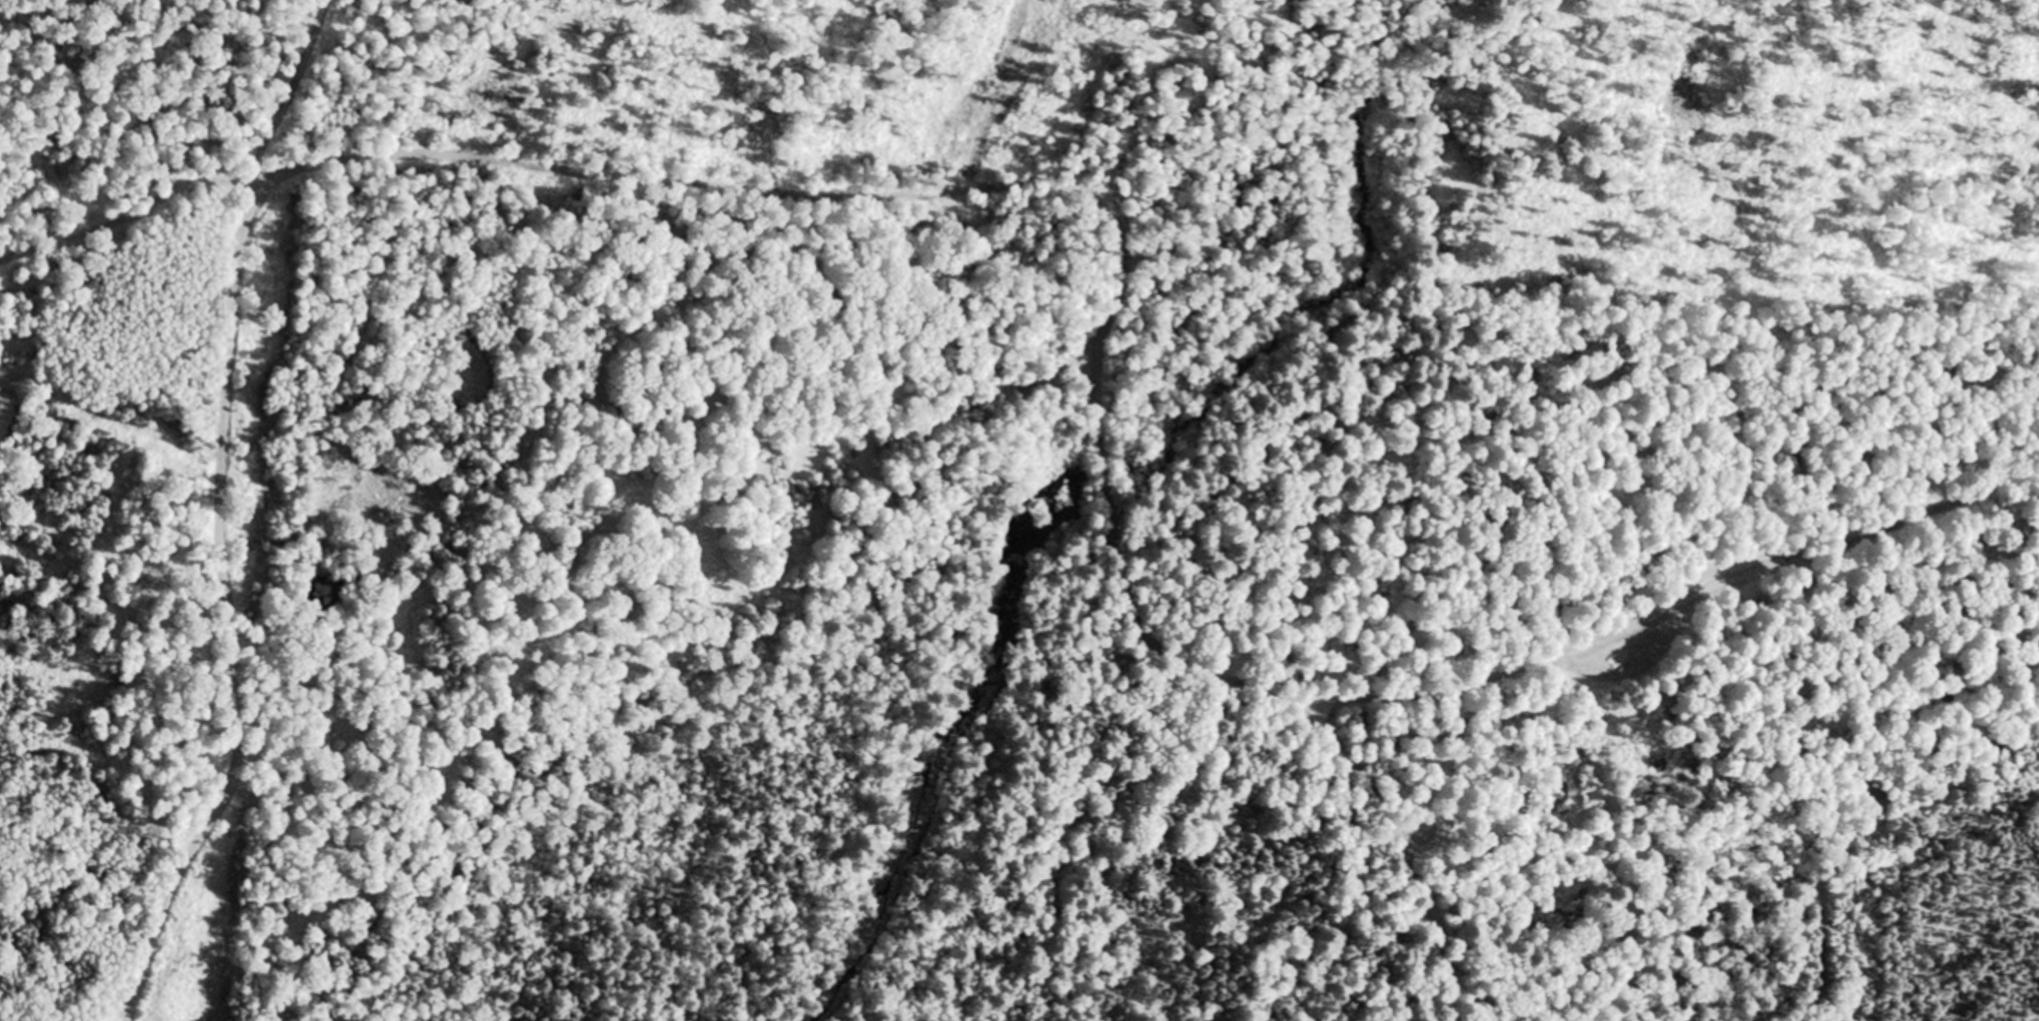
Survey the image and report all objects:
road: (310, 83)
road: (383, 155)

